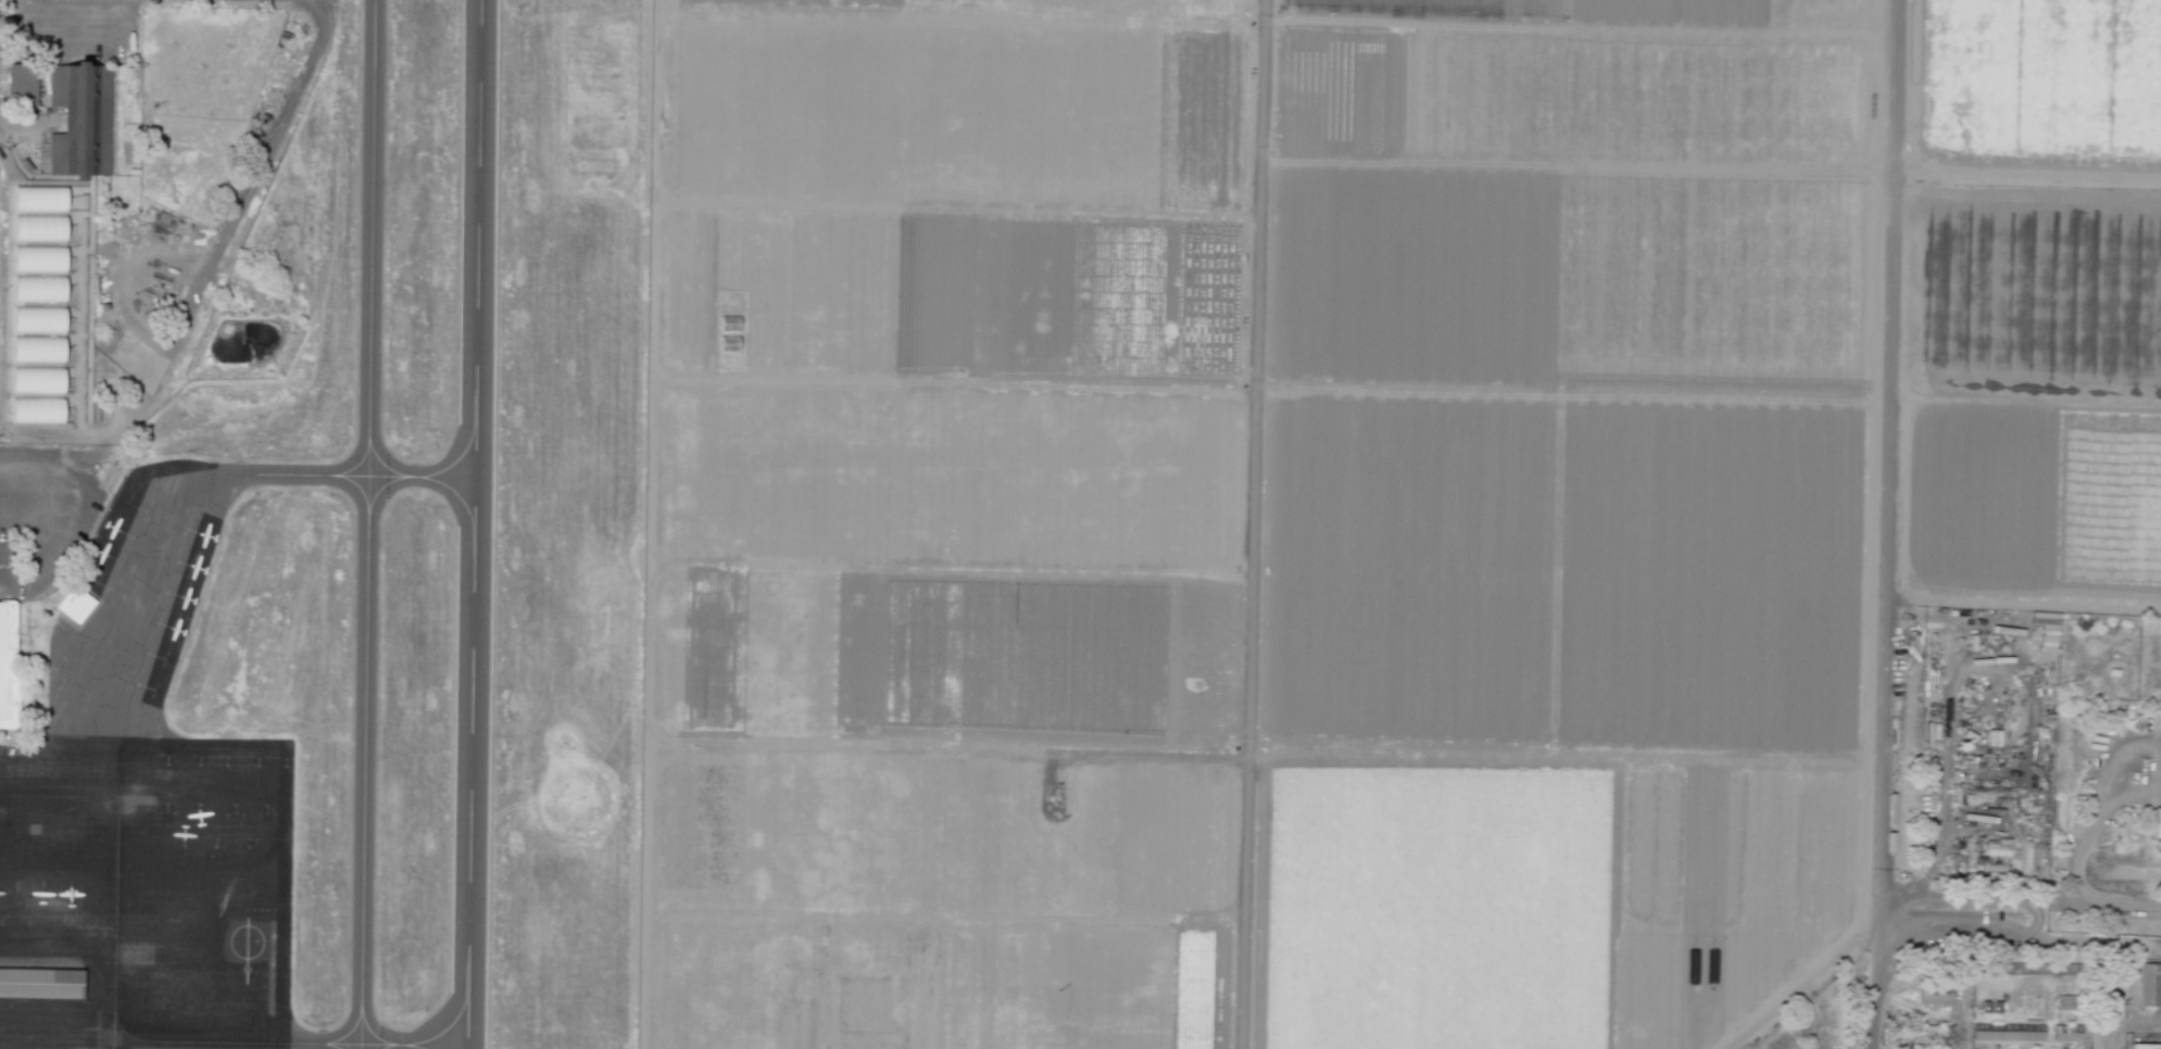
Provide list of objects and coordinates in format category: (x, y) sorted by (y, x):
building: (21, 84)
building: (84, 119)
road: (2026, 170)
building: (39, 199)
building: (38, 227)
building: (38, 258)
road: (205, 267)
building: (38, 289)
building: (38, 319)
building: (37, 349)
building: (37, 379)
building: (36, 409)
road: (47, 452)
road: (651, 462)
airport taxiway: (356, 473)
parking lot: (41, 520)
airport runway: (473, 523)
road: (1249, 523)
airport taxiway: (366, 524)
road: (1888, 524)
airport: (356, 586)
building: (74, 604)
building: (2045, 620)
building: (7, 663)
building: (2159, 717)
road: (1130, 755)
airport apron: (146, 809)
building: (2157, 822)
building: (1997, 847)
road: (2080, 885)
road: (2034, 918)
airport taxiway: (114, 931)
helipad: (246, 940)
road: (2110, 958)
building: (40, 982)
road: (1801, 985)
building: (2150, 986)
building: (1934, 996)
building: (1990, 1006)
building: (2065, 1034)
airport taxiway: (289, 1041)
building: (2034, 1046)
building: (2144, 1046)
building: (1927, 1048)

